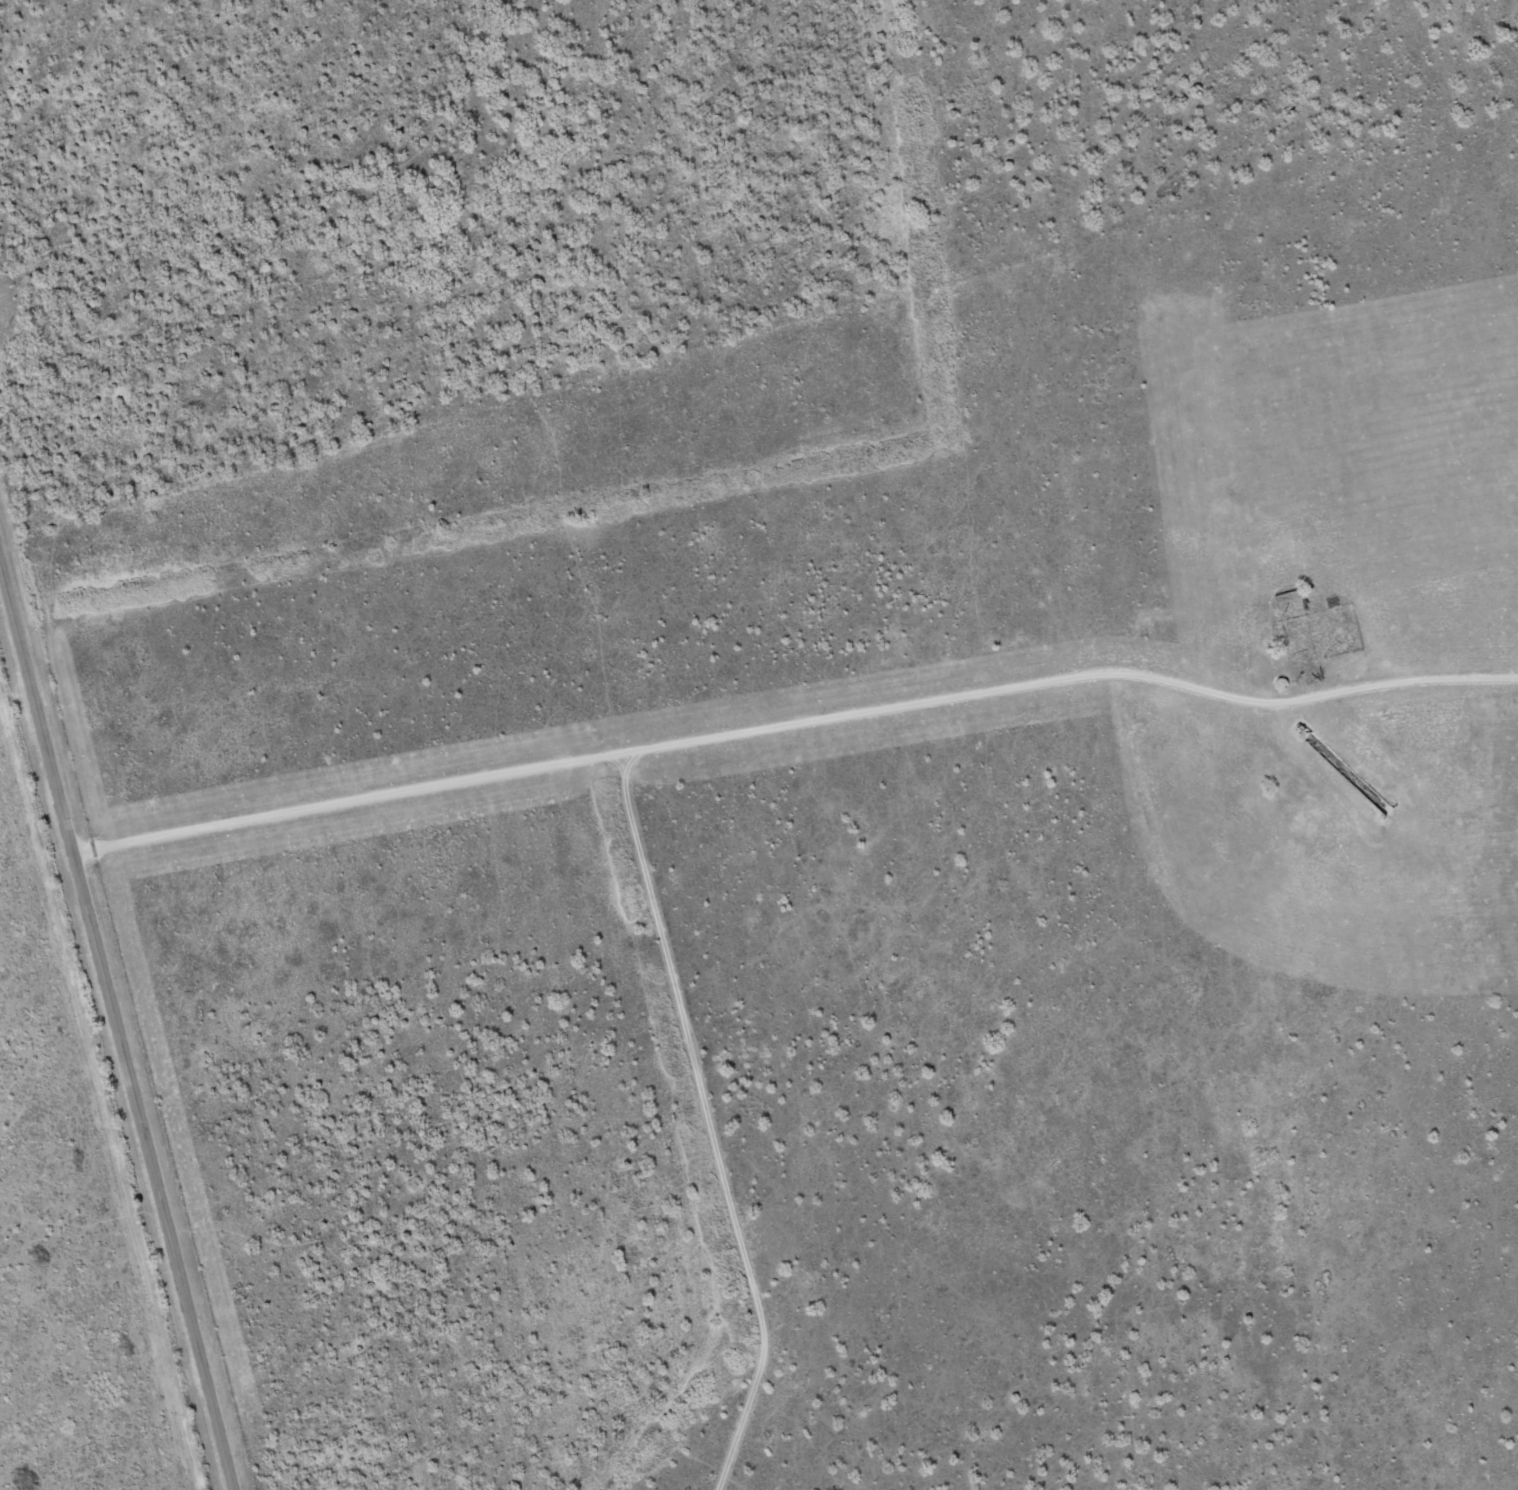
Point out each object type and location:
building: (1281, 685)
road: (794, 723)
building: (1303, 730)
road: (114, 1026)

